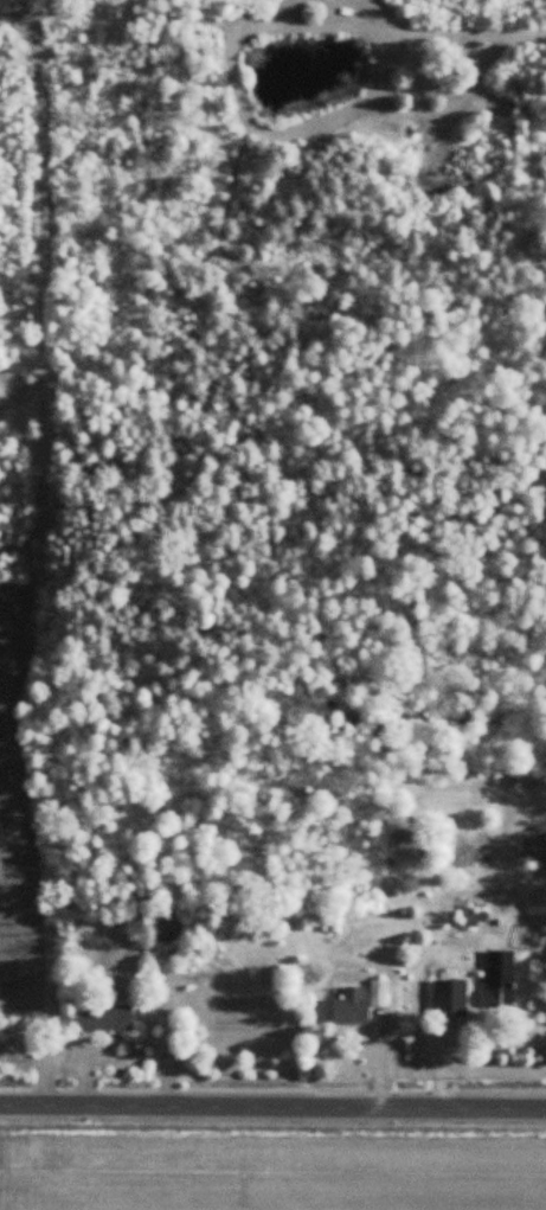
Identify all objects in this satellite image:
building: (500, 980)
building: (451, 998)
building: (353, 1007)
building: (104, 1019)
road: (272, 1107)

